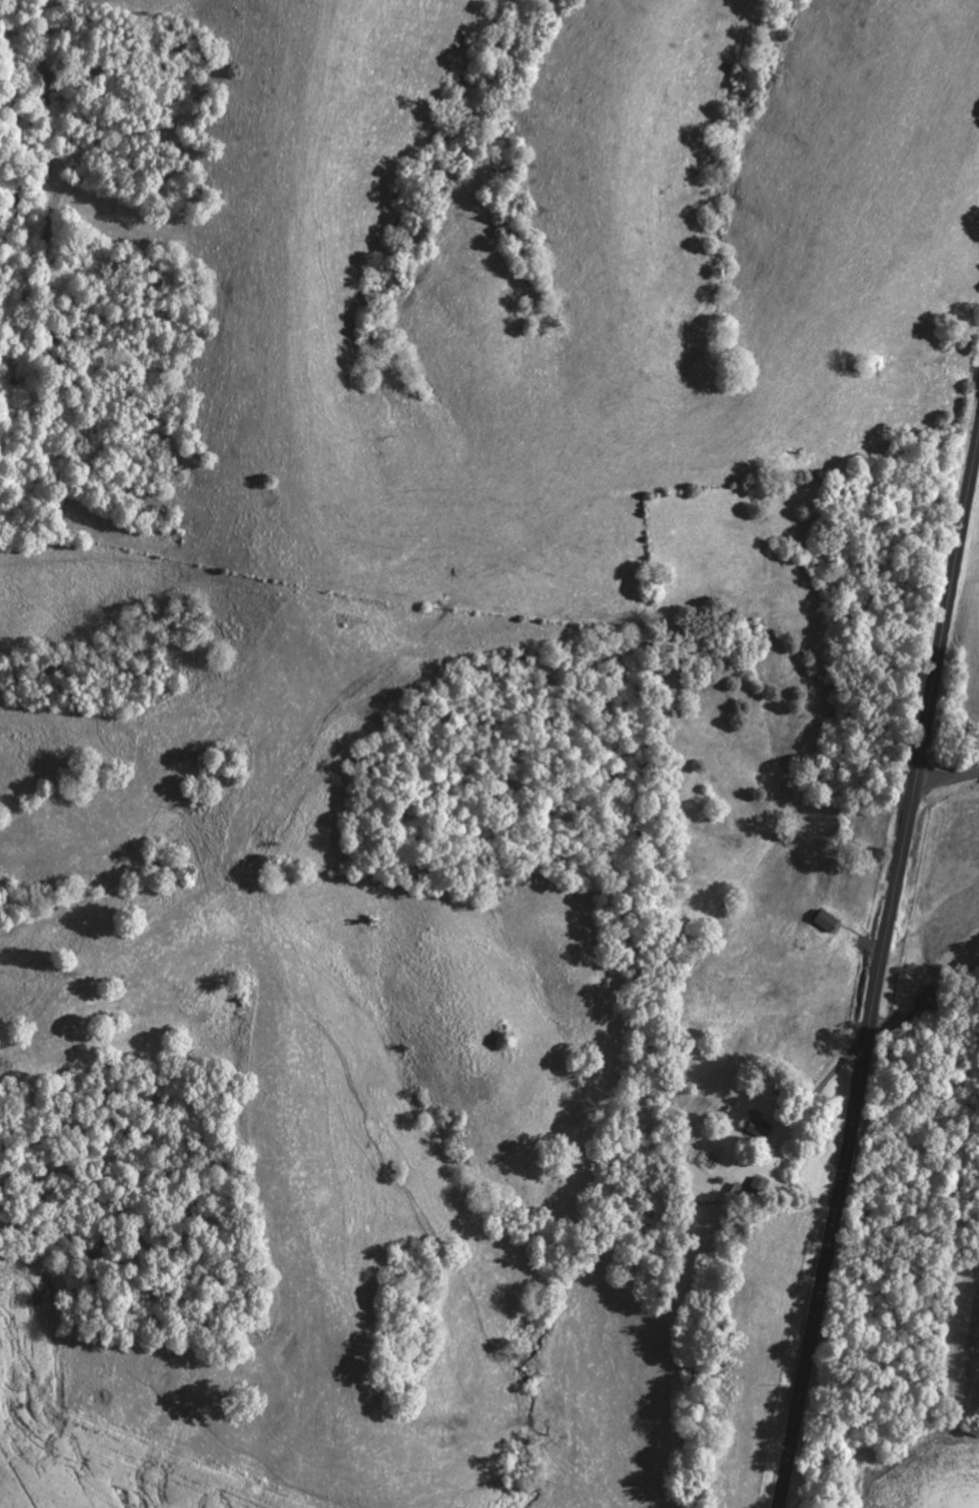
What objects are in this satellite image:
road: (947, 781)
building: (823, 922)
road: (879, 973)
building: (752, 1130)

